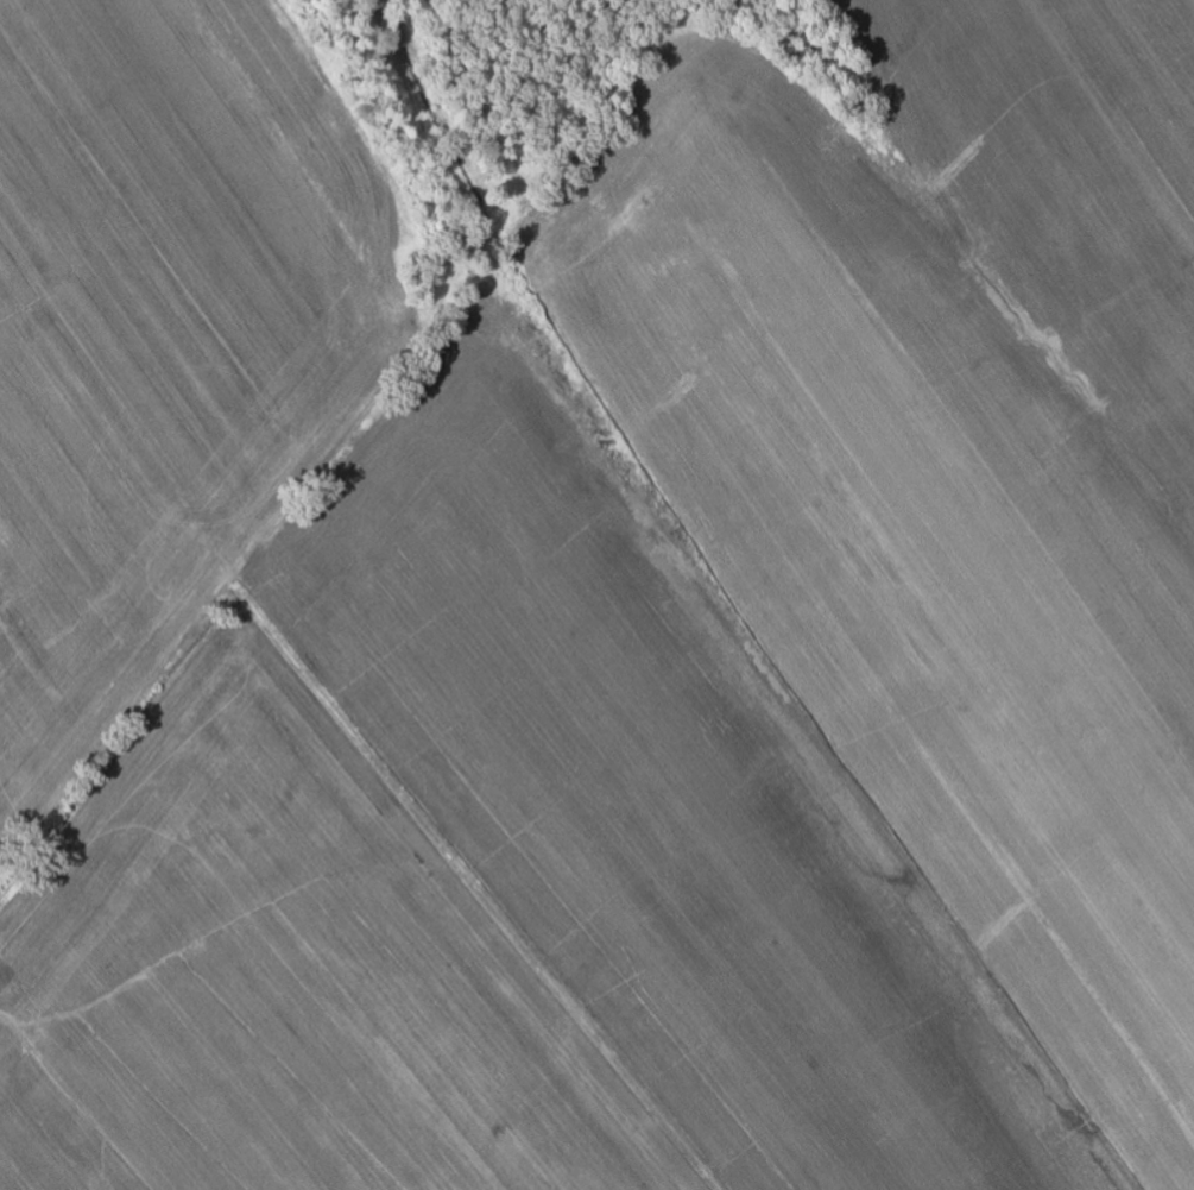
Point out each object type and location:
road: (371, 278)
road: (121, 753)
road: (444, 883)

